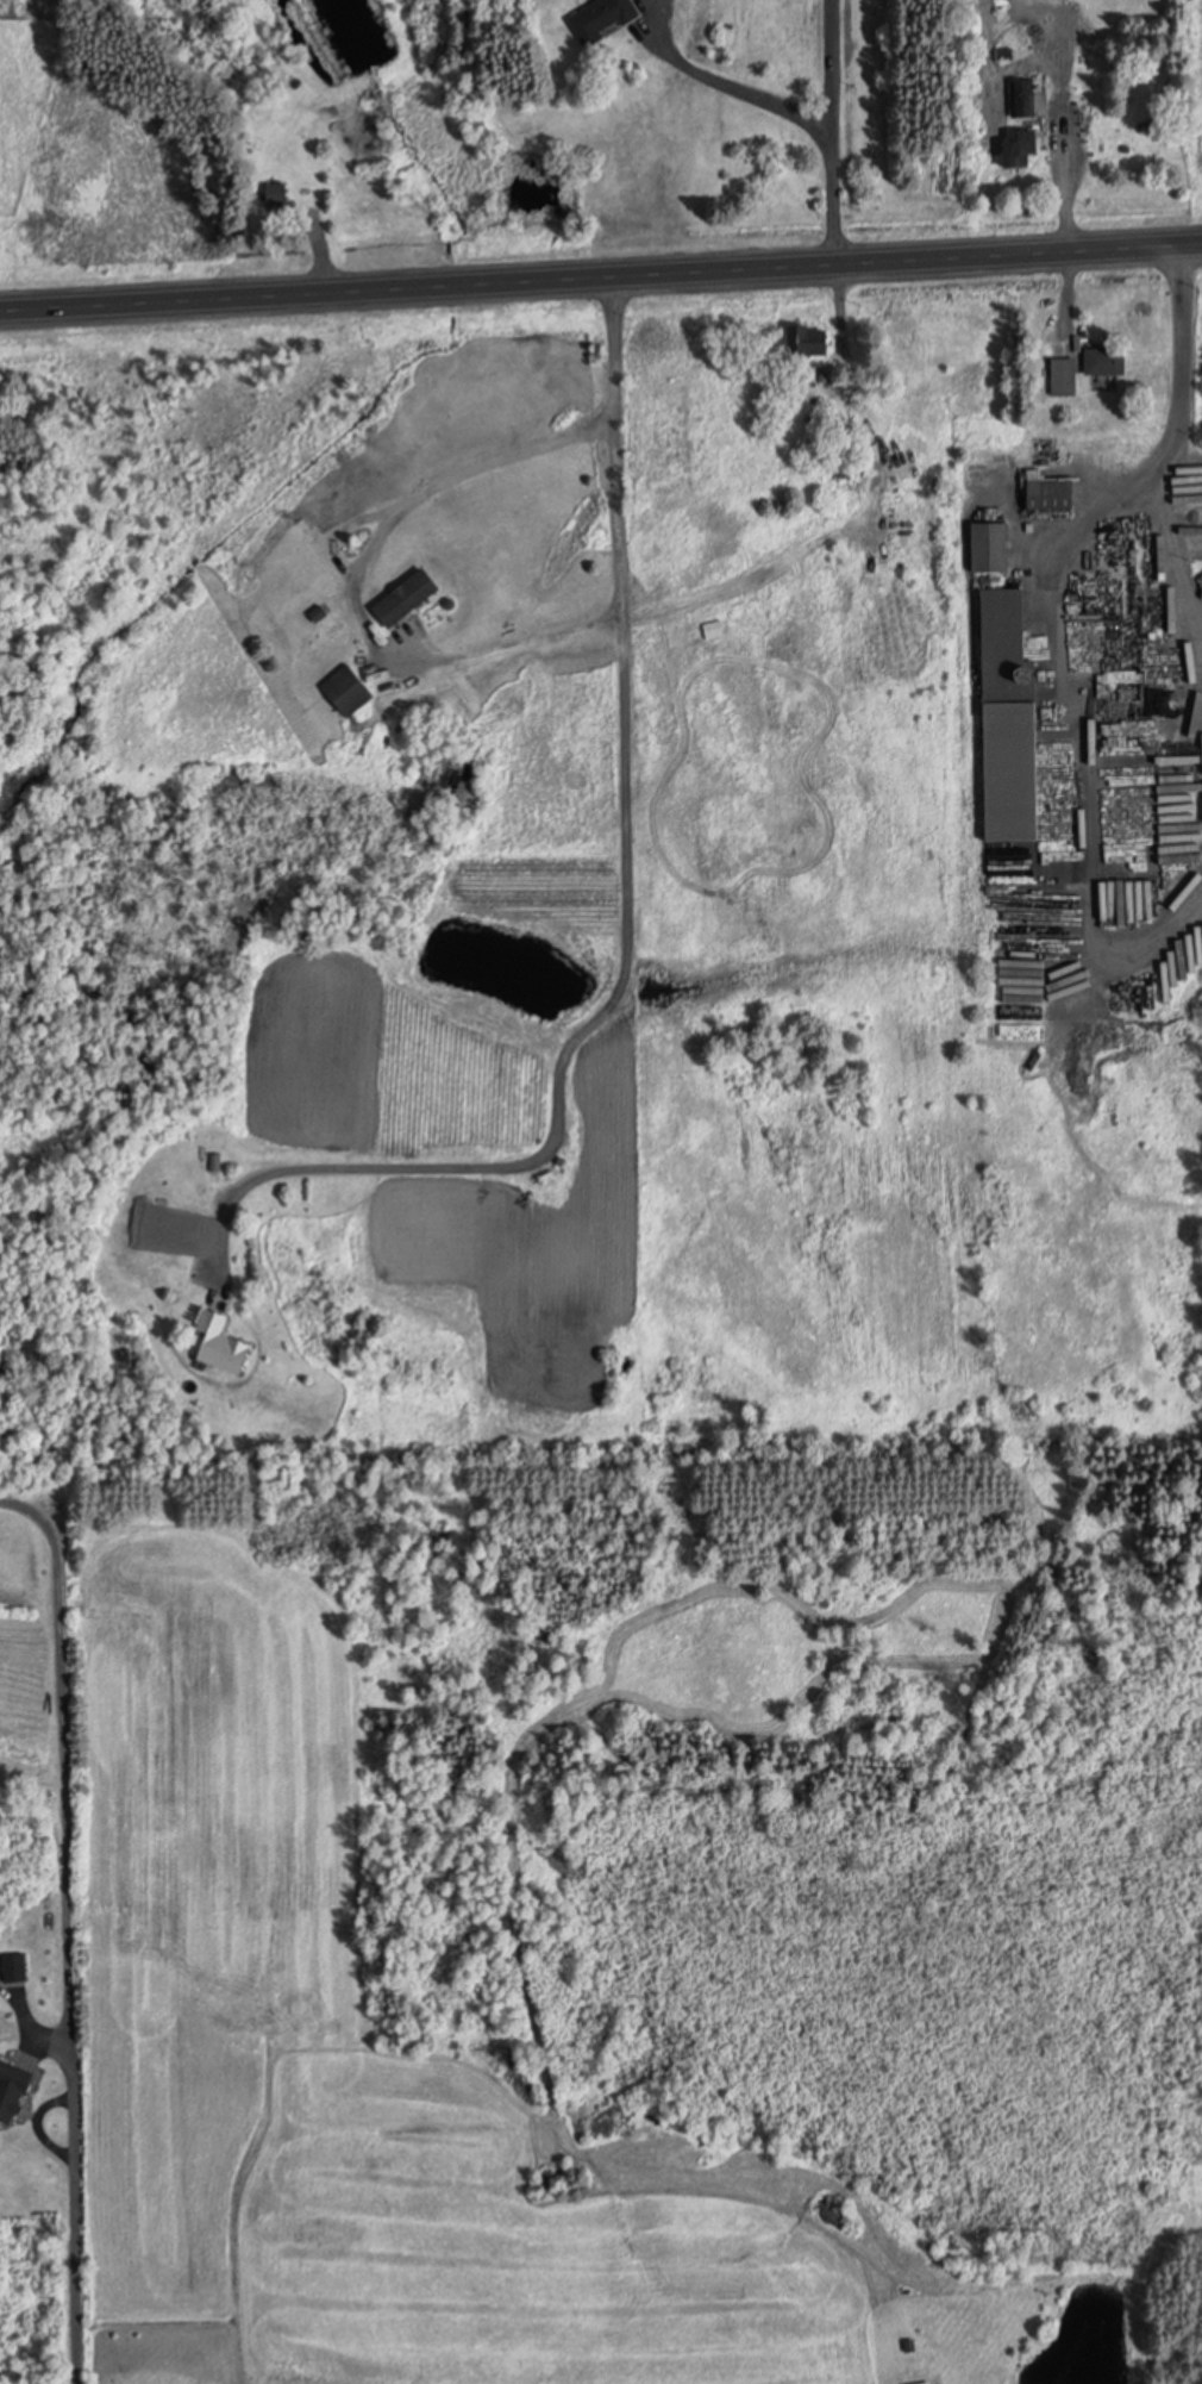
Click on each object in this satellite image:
building: (603, 19)
building: (1023, 148)
building: (280, 198)
road: (600, 275)
building: (810, 342)
building: (1107, 362)
building: (1064, 377)
building: (982, 493)
building: (1051, 495)
building: (993, 548)
building: (408, 598)
building: (1004, 612)
building: (714, 630)
building: (997, 682)
building: (349, 691)
building: (1018, 772)
building: (224, 1346)
building: (14, 1968)
building: (14, 2089)
building: (927, 2383)

